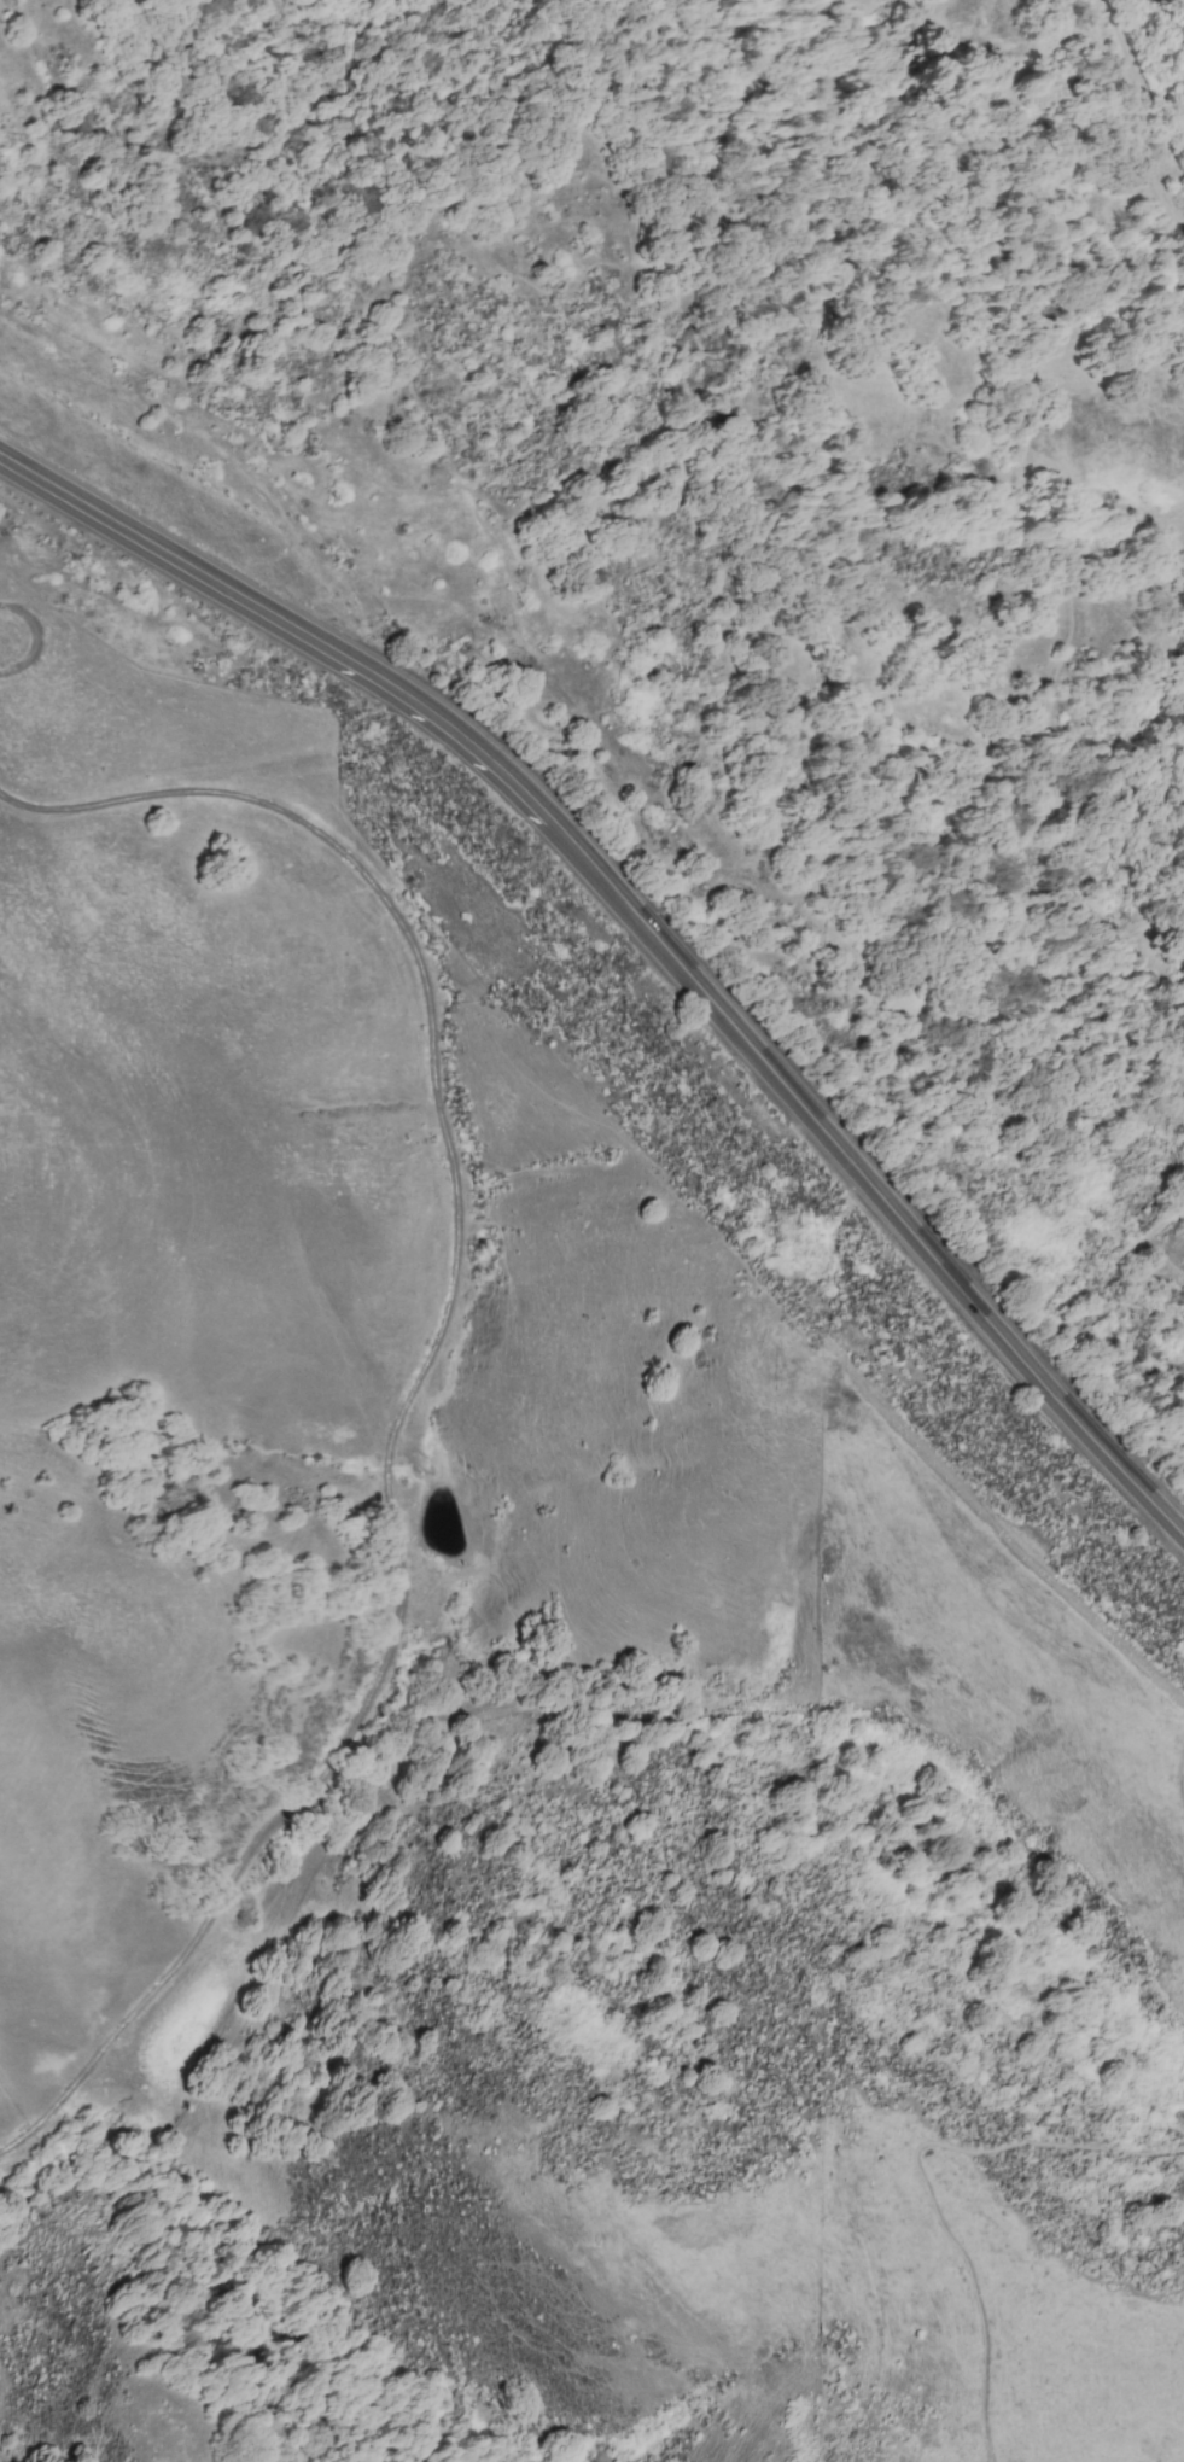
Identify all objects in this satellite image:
park: (899, 4)
park: (1005, 30)
road: (1147, 115)
road: (332, 268)
road: (1045, 491)
road: (647, 927)
road: (1153, 1252)
road: (422, 1379)
road: (1013, 1542)
road: (1179, 1775)
road: (921, 2175)

